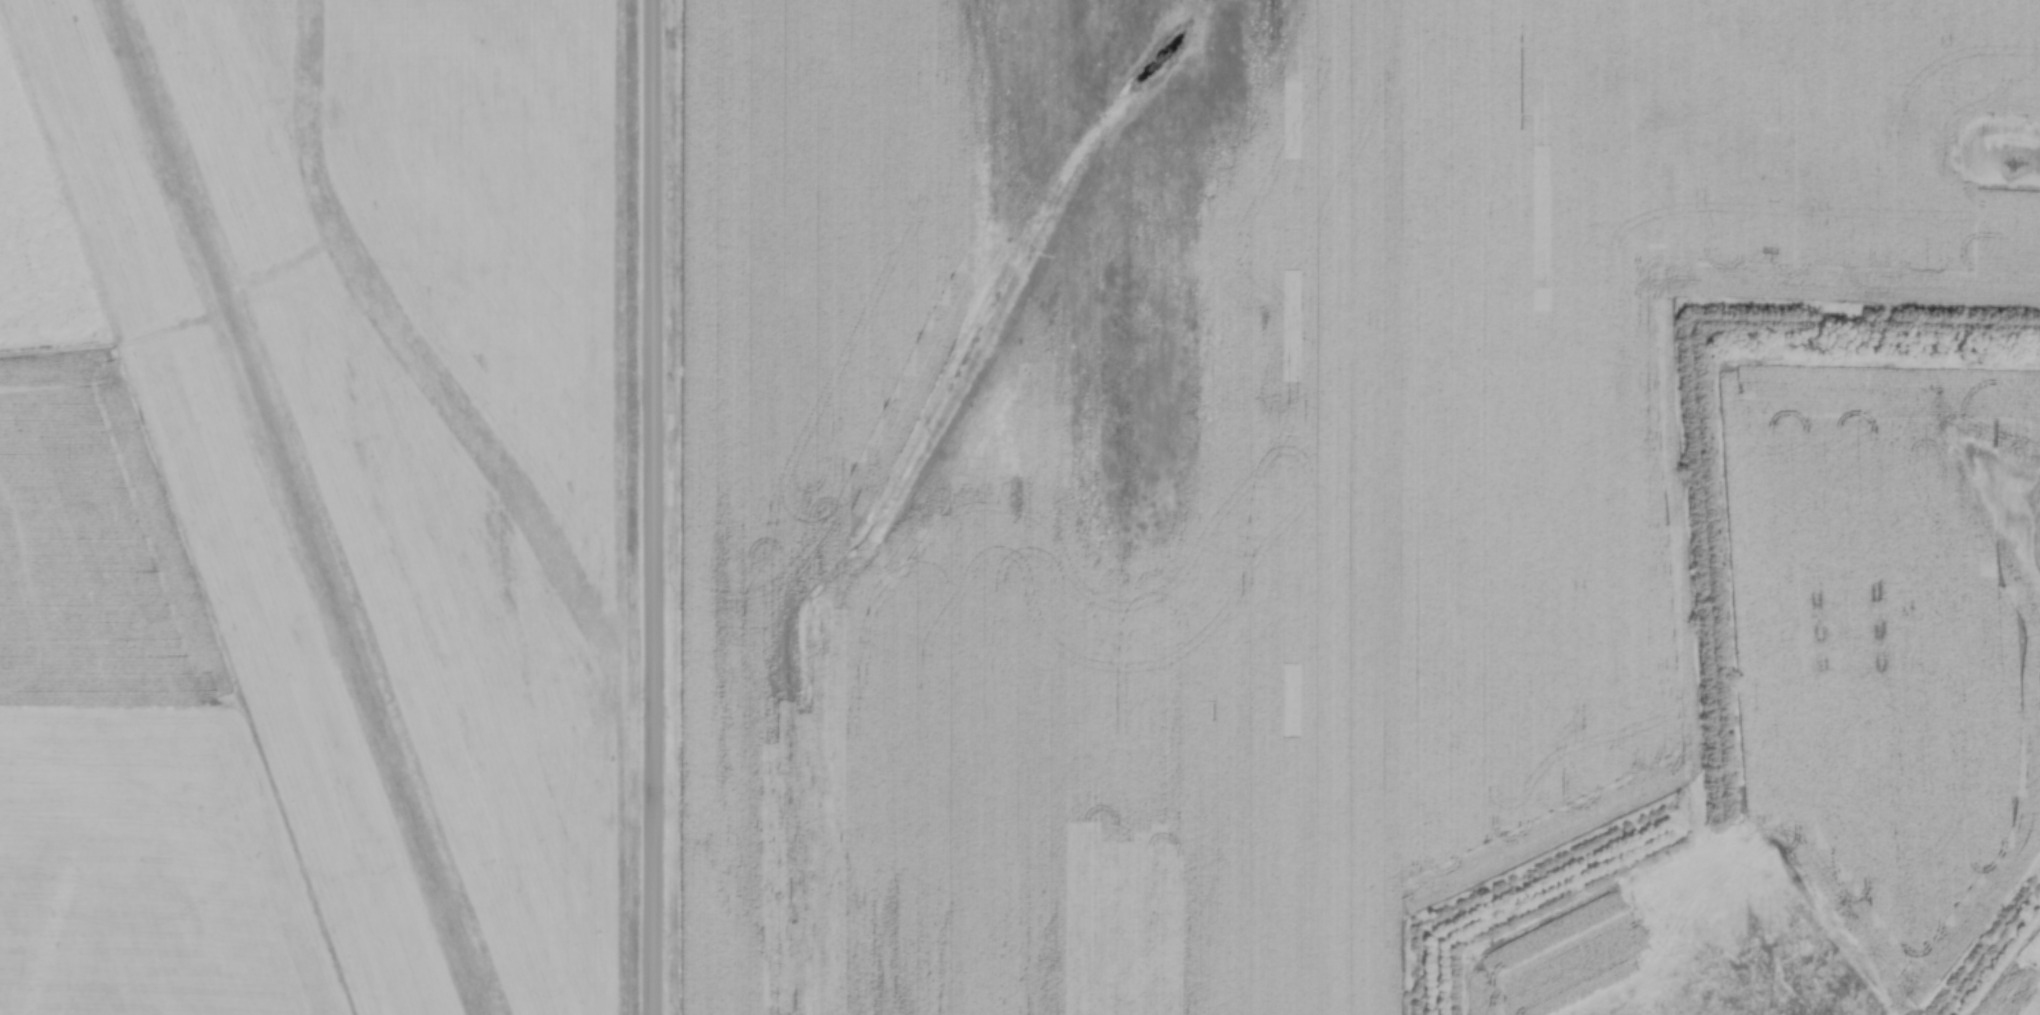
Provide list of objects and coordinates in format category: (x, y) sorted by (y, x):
airport runway: (304, 507)
road: (649, 507)

